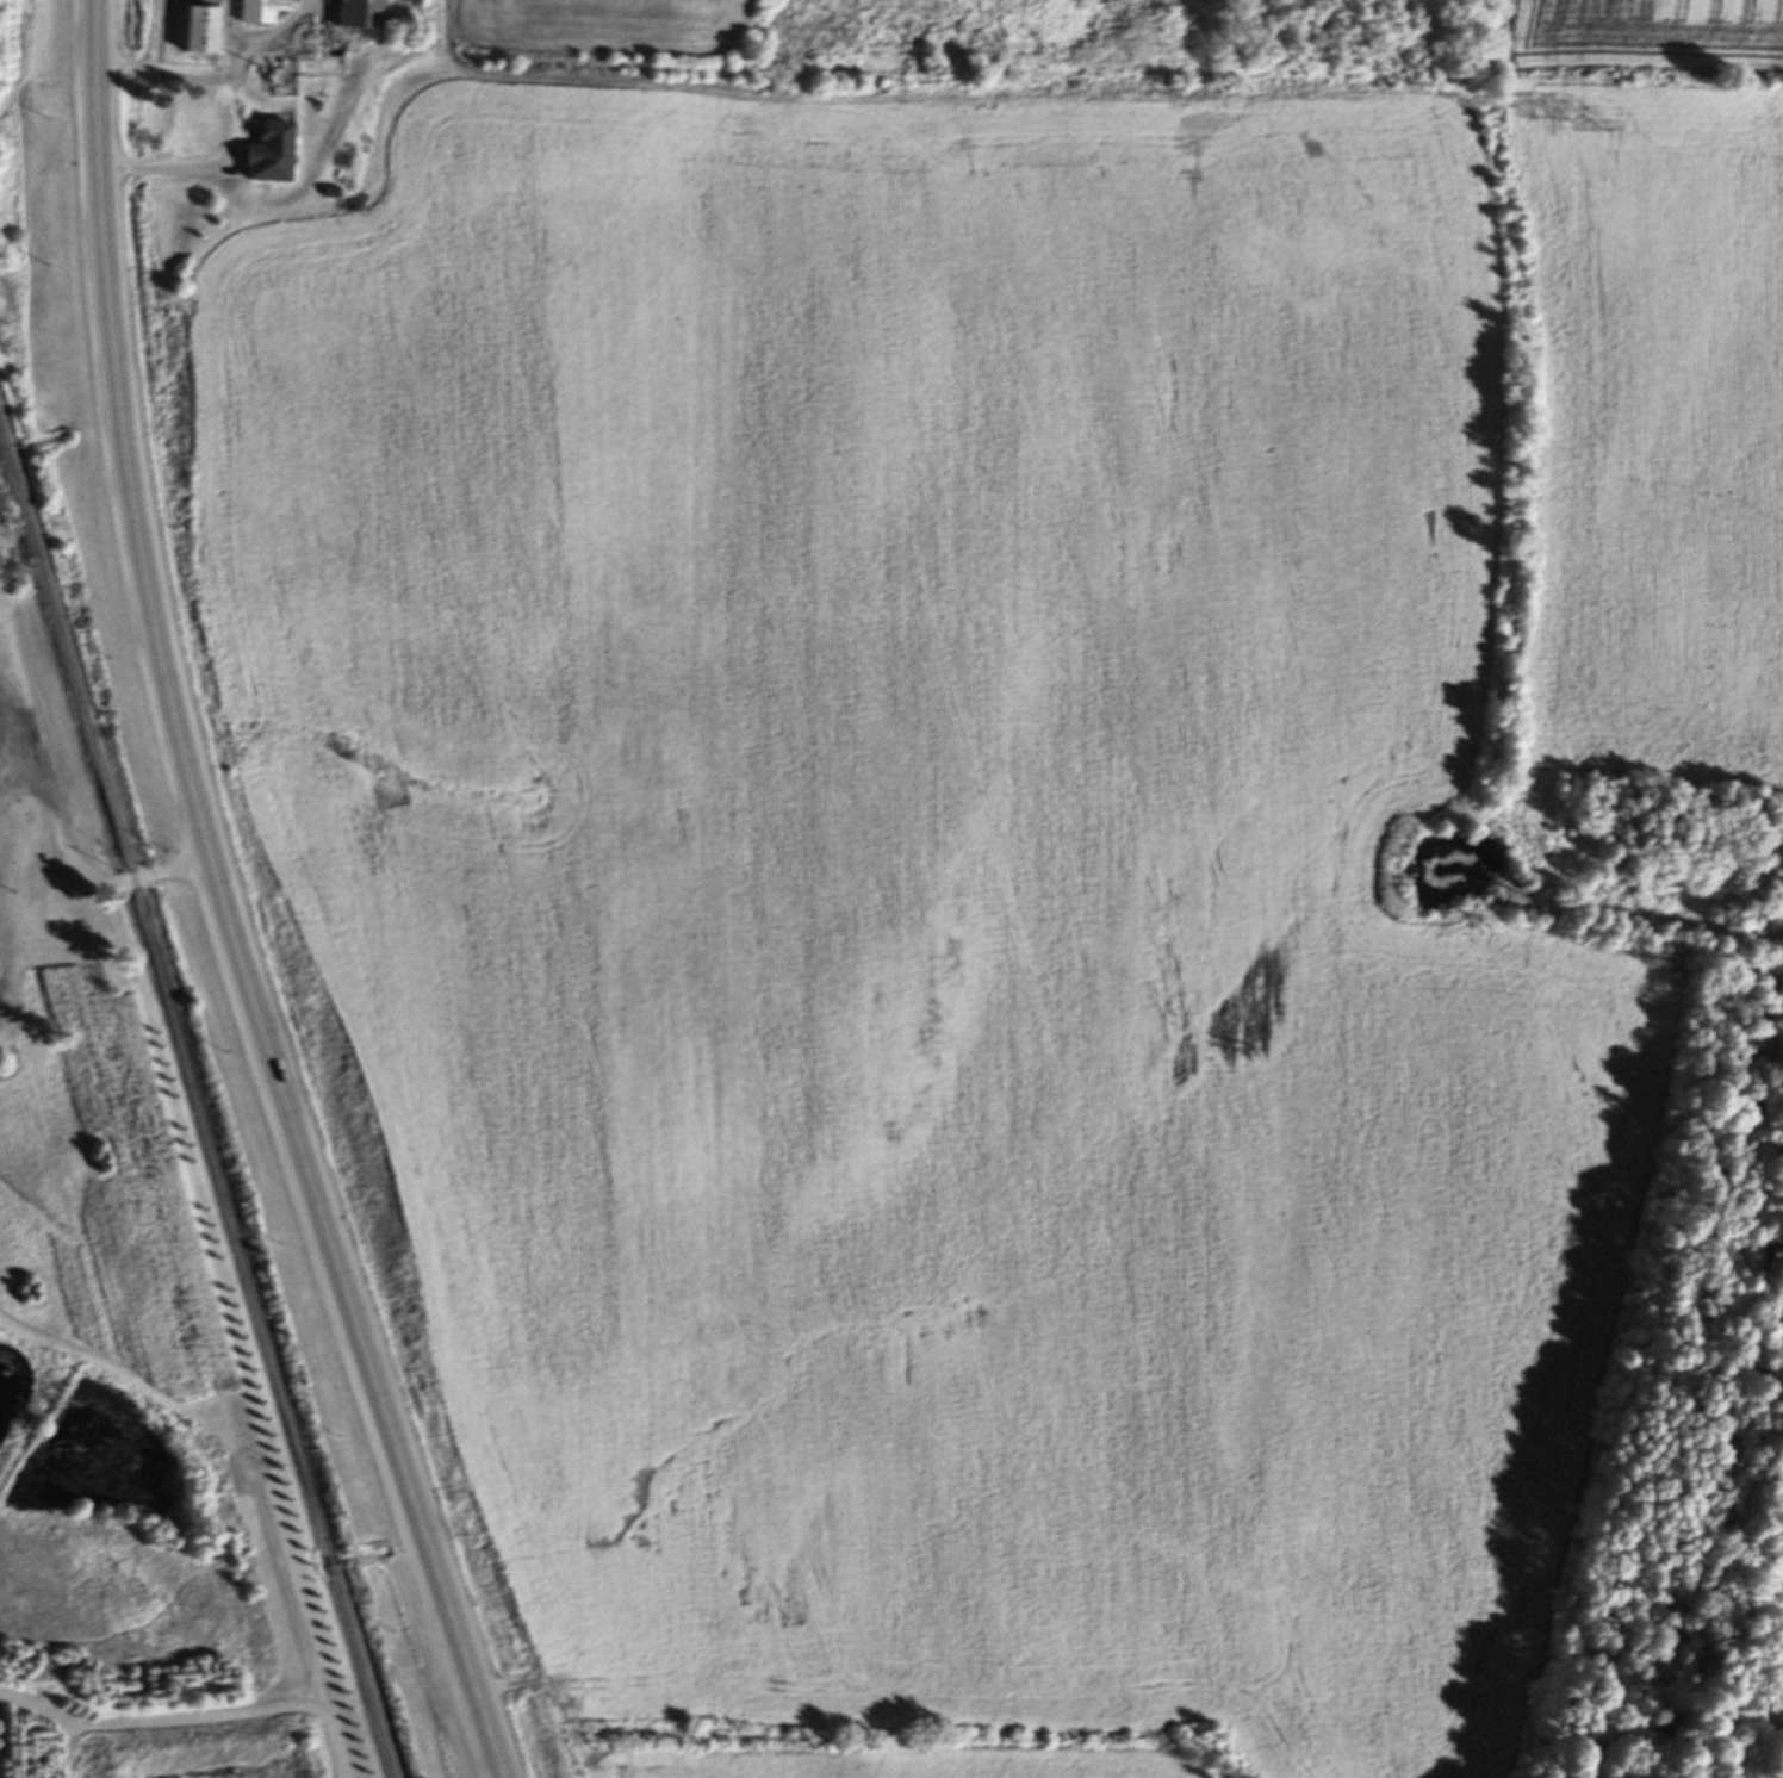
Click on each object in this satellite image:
building: (262, 11)
building: (365, 14)
building: (206, 30)
road: (219, 77)
building: (195, 129)
building: (250, 166)
landfill: (2, 584)
road: (70, 860)
road: (225, 904)
building: (66, 947)
railway: (166, 989)
building: (243, 1425)
railway: (330, 1562)
railway: (362, 1672)

